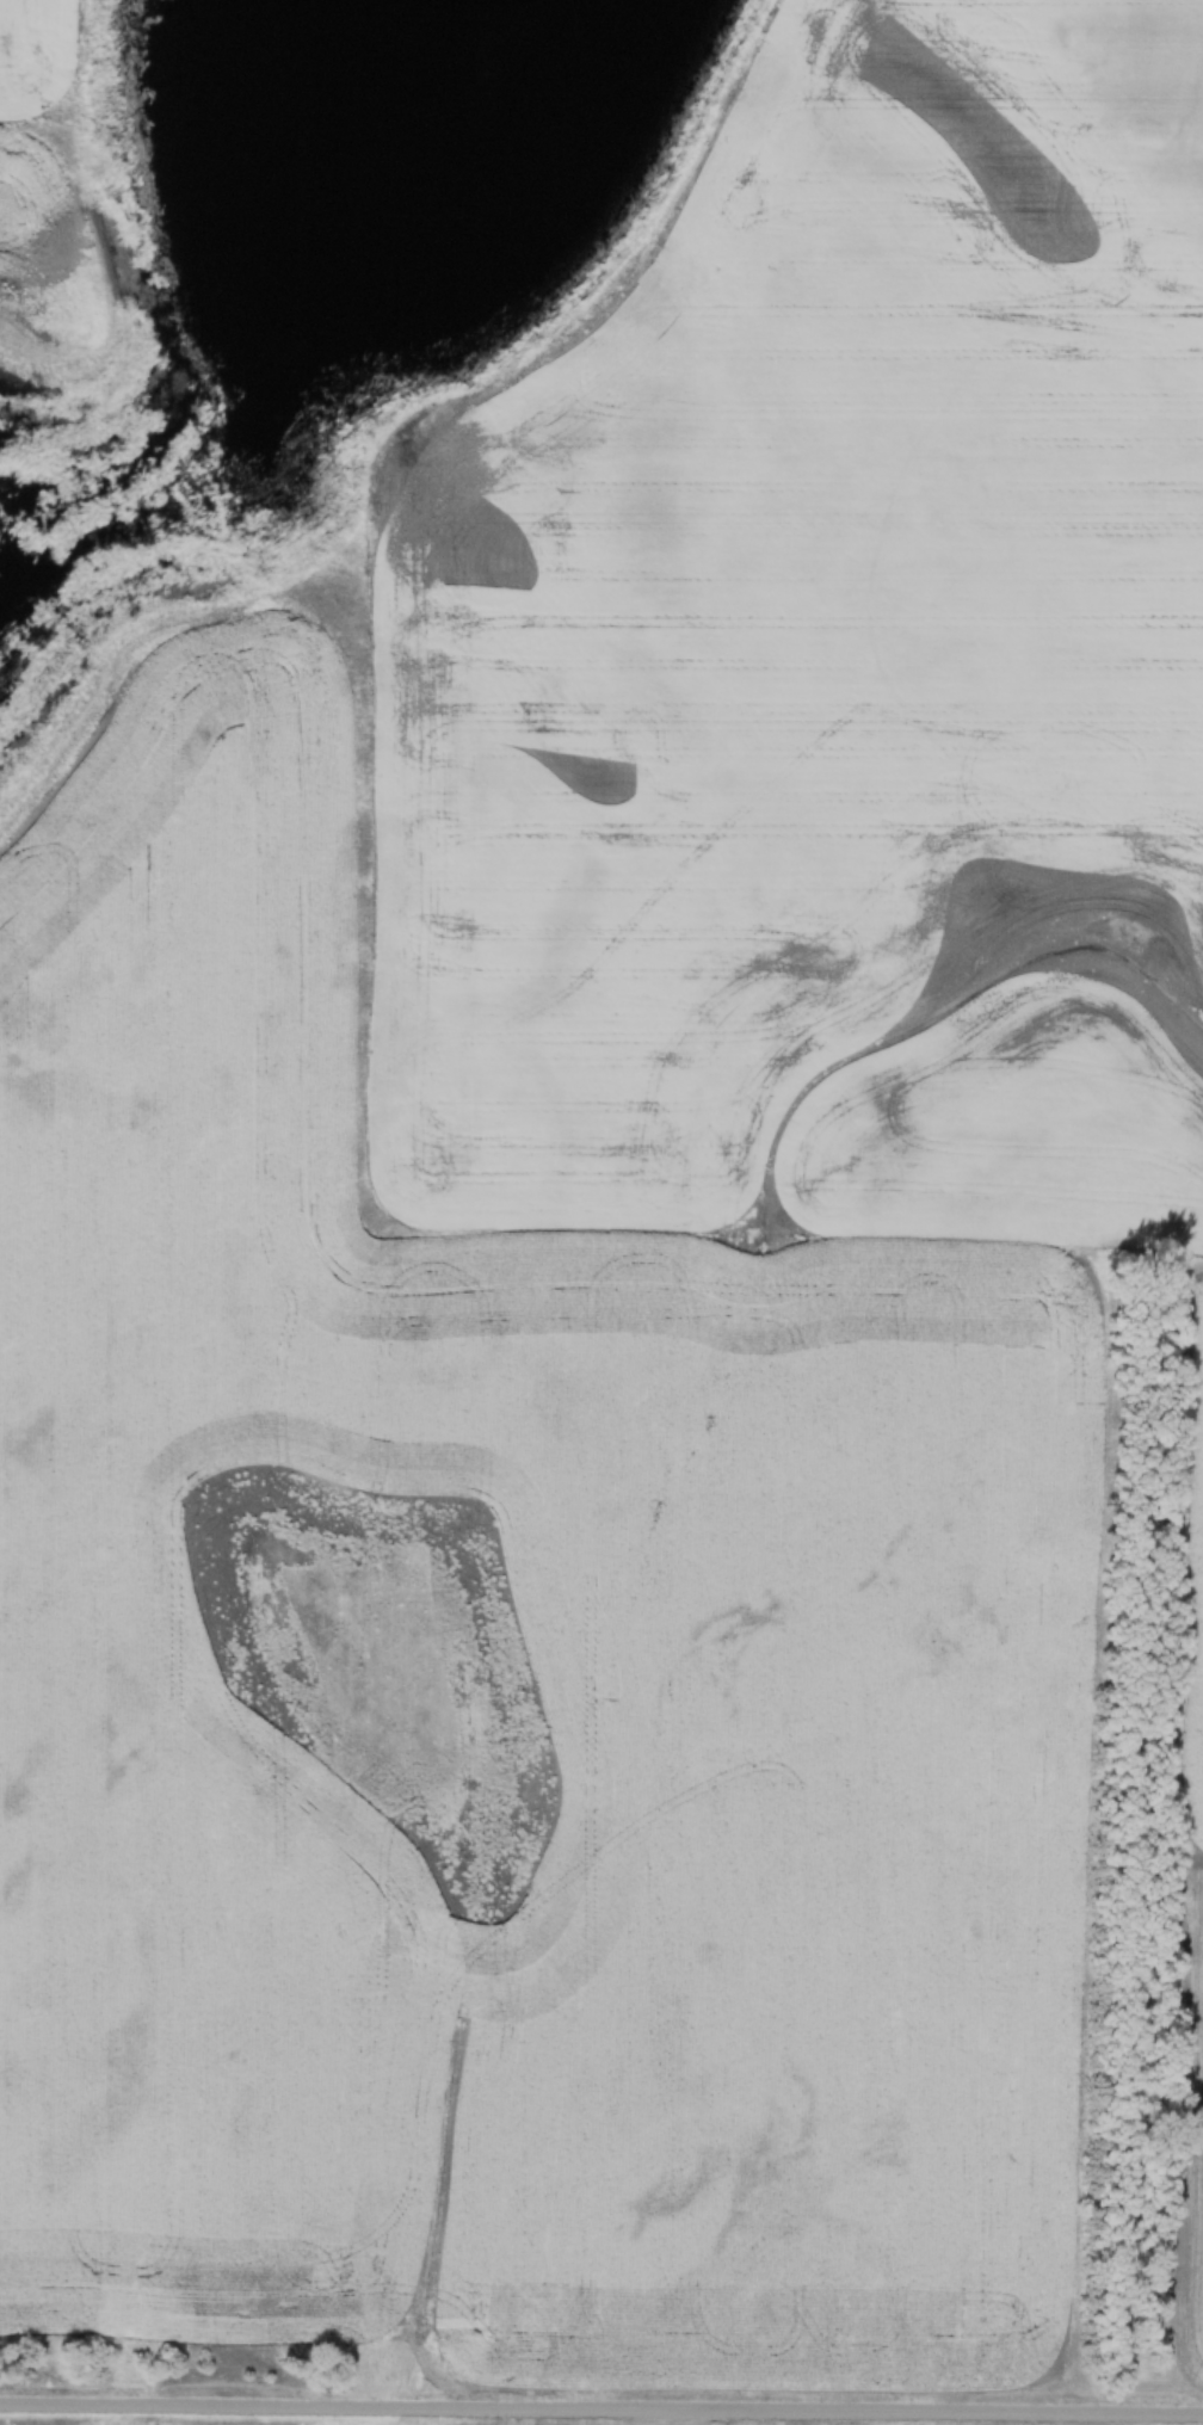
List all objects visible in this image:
road: (600, 2408)

